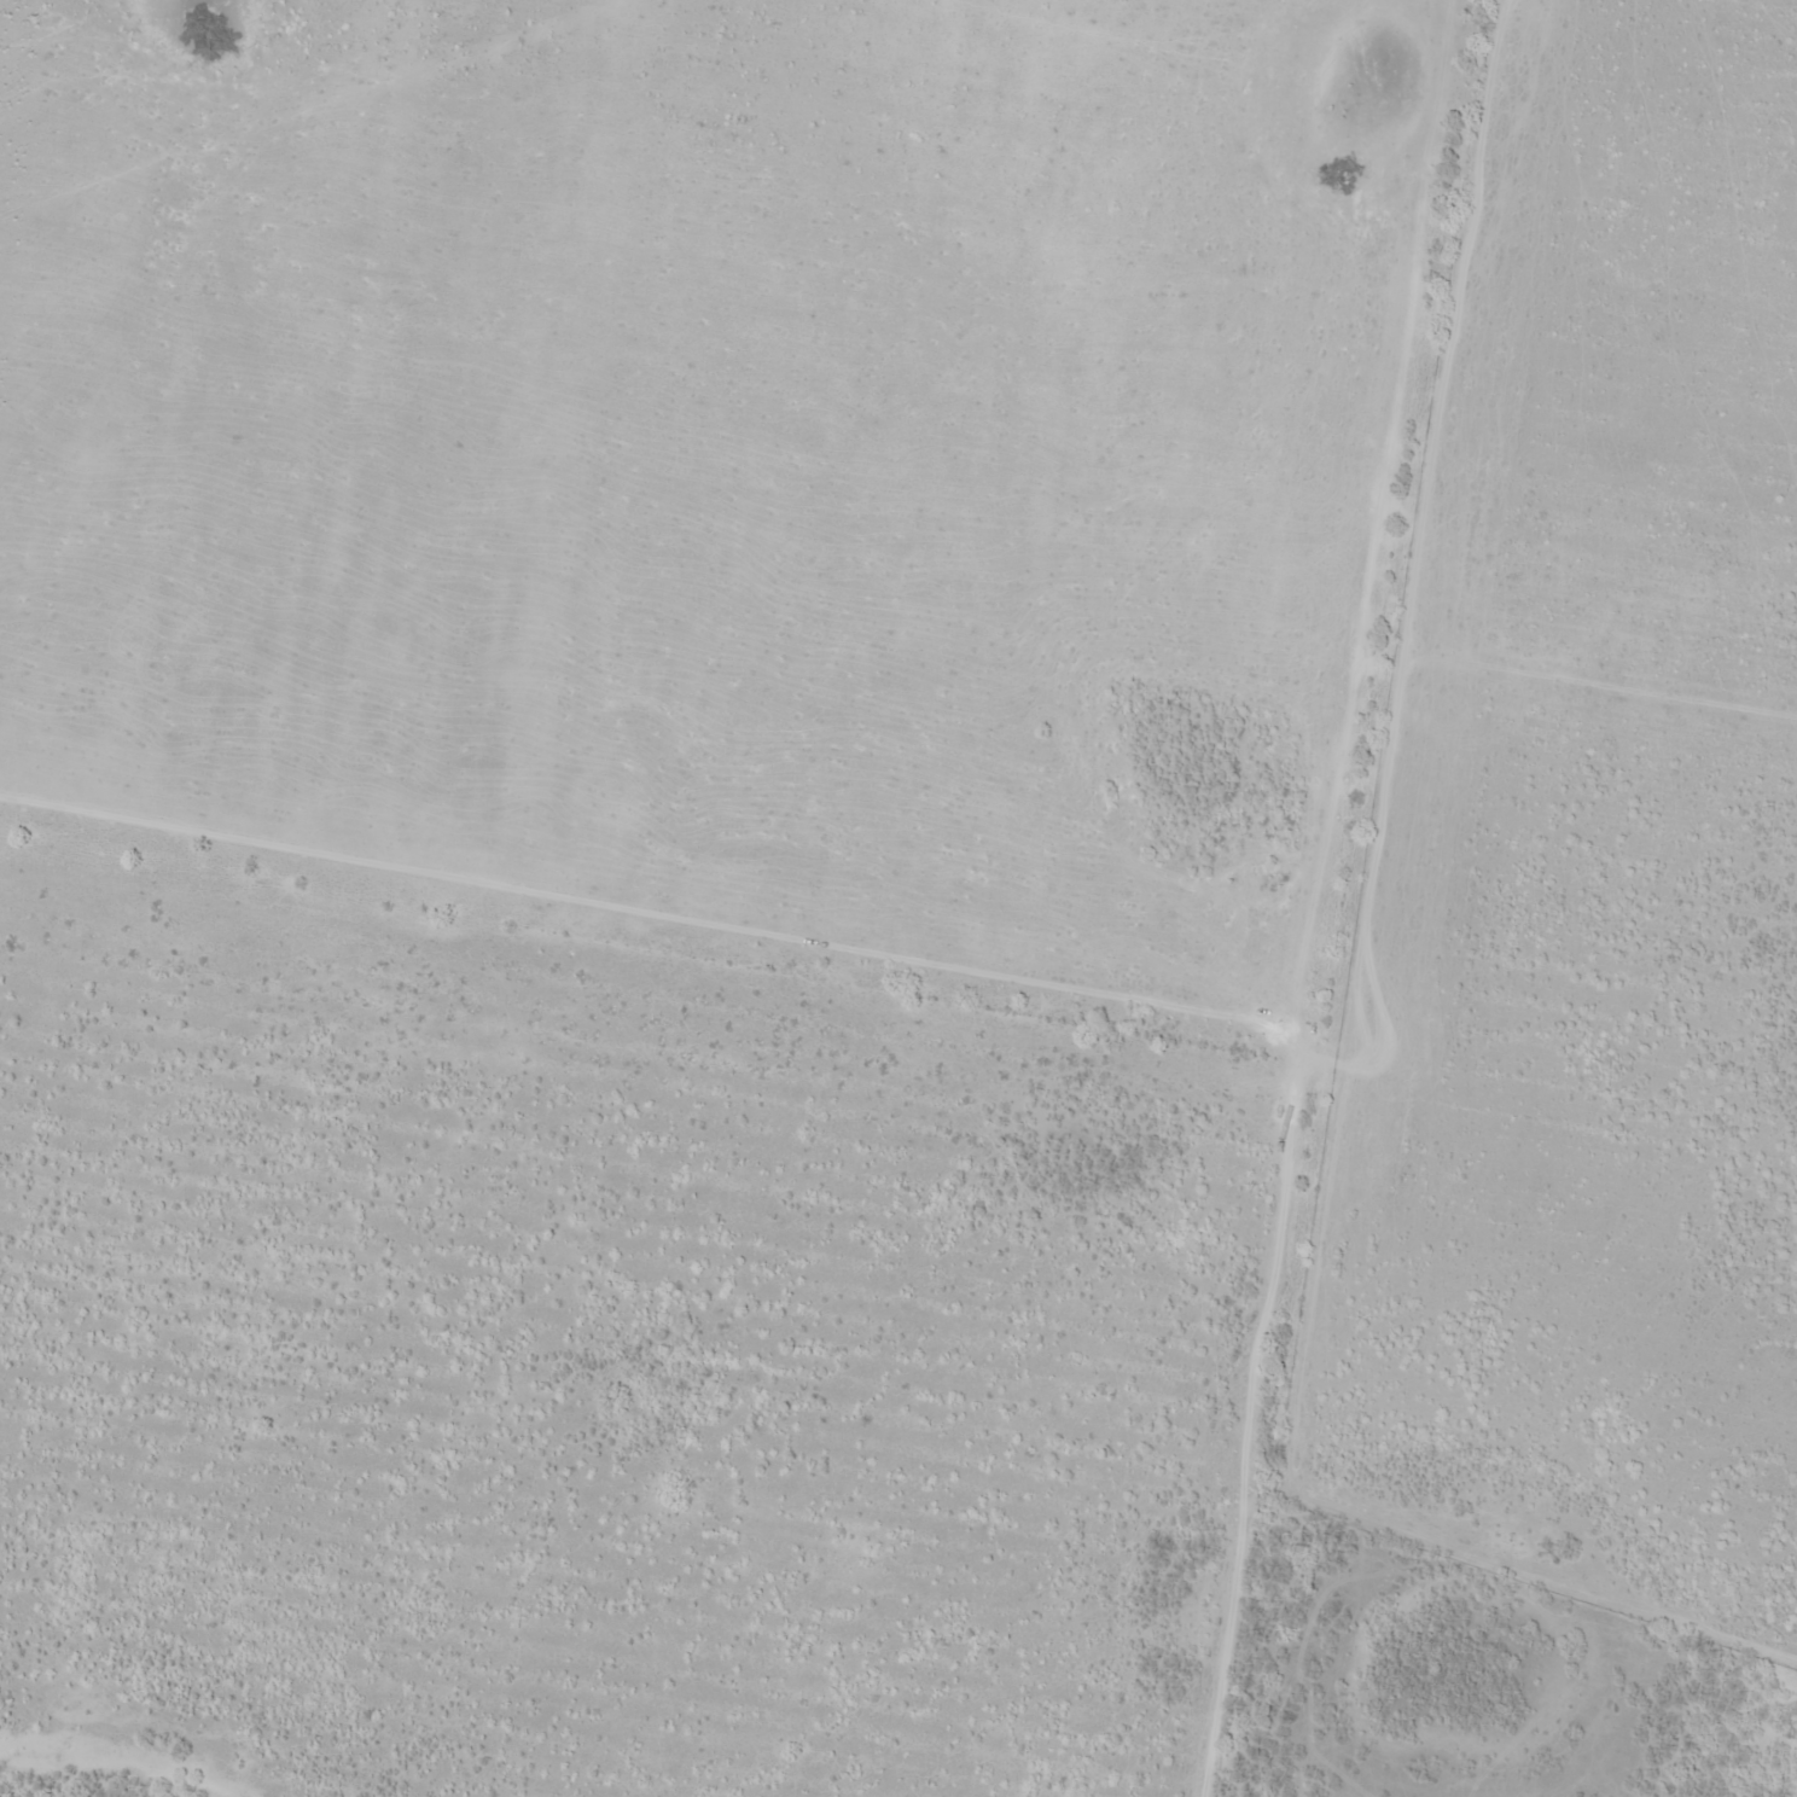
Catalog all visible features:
road: (1330, 1007)

